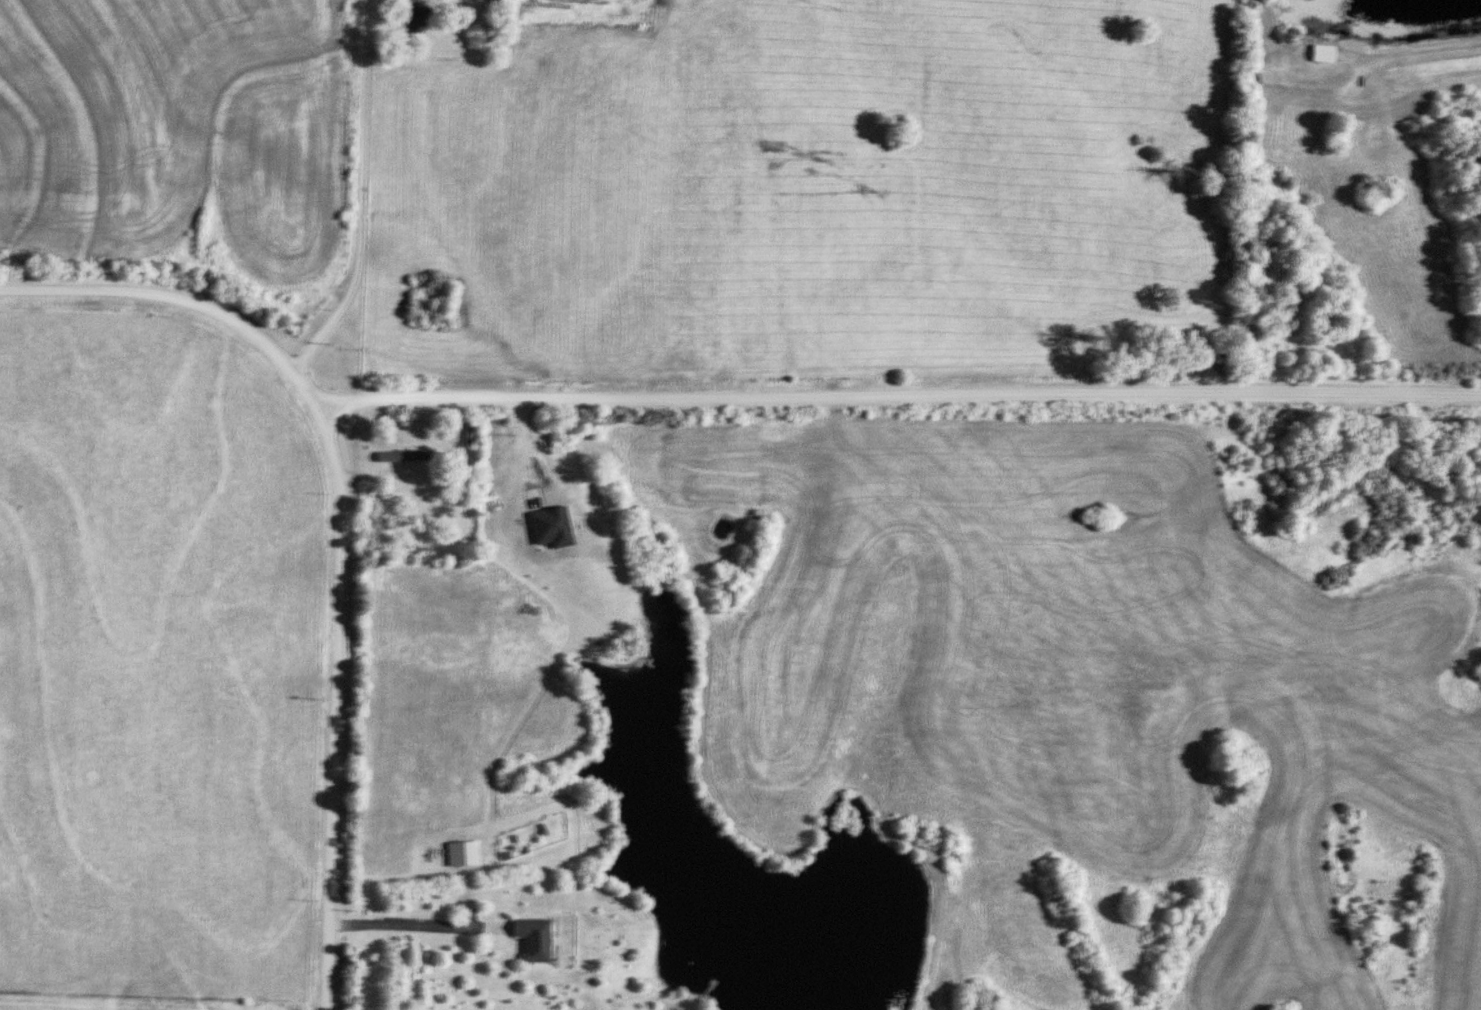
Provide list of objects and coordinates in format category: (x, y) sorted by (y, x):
building: (409, 18)
road: (1424, 49)
road: (361, 193)
road: (899, 397)
building: (464, 435)
building: (397, 457)
road: (340, 526)
building: (458, 853)
road: (410, 925)
building: (526, 938)

